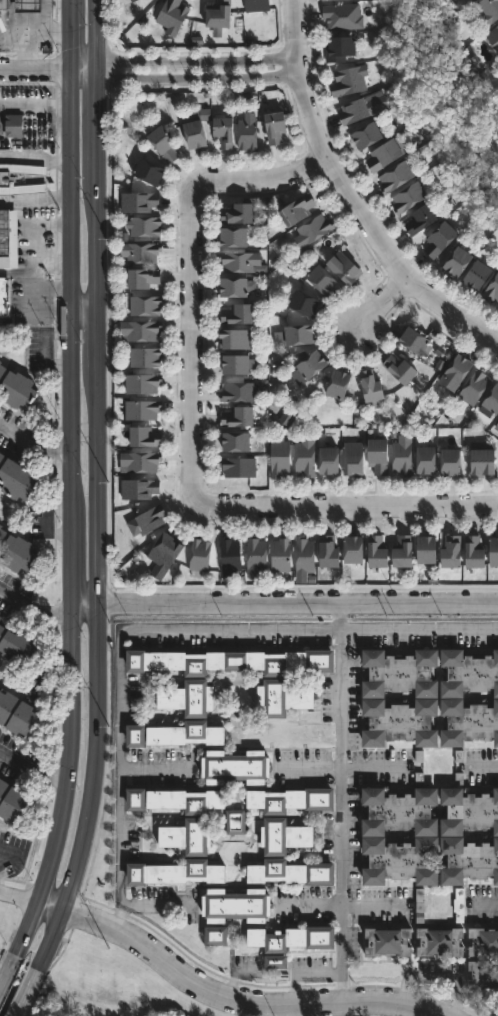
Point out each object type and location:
building: (4, 4)
gas station: (4, 4)
building: (28, 5)
gas station: (28, 5)
building: (256, 5)
building: (489, 10)
building: (173, 16)
building: (219, 16)
building: (341, 16)
building: (493, 37)
building: (338, 47)
road: (197, 58)
road: (83, 69)
road: (34, 70)
road: (198, 78)
building: (349, 80)
road: (34, 105)
building: (357, 109)
building: (13, 124)
building: (276, 125)
building: (223, 131)
building: (196, 133)
building: (247, 134)
building: (366, 135)
building: (163, 142)
building: (380, 153)
road: (34, 159)
building: (148, 171)
building: (392, 176)
building: (7, 178)
road: (349, 197)
building: (408, 197)
road: (35, 199)
building: (138, 201)
building: (299, 208)
building: (237, 214)
building: (420, 219)
building: (145, 226)
building: (314, 230)
building: (235, 237)
building: (440, 238)
building: (4, 239)
building: (140, 251)
building: (240, 261)
building: (458, 261)
building: (344, 267)
building: (478, 275)
building: (142, 278)
building: (322, 279)
building: (234, 287)
building: (492, 290)
building: (4, 296)
road: (70, 301)
road: (97, 302)
building: (304, 302)
road: (384, 303)
building: (144, 305)
road: (84, 308)
building: (238, 315)
building: (140, 330)
building: (294, 335)
building: (235, 339)
building: (414, 340)
building: (145, 357)
building: (0, 361)
building: (238, 365)
building: (309, 368)
building: (400, 369)
building: (460, 369)
building: (142, 383)
building: (339, 385)
building: (367, 385)
building: (474, 386)
building: (15, 387)
building: (239, 392)
building: (492, 403)
building: (142, 408)
building: (238, 416)
building: (496, 425)
road: (191, 426)
building: (145, 437)
road: (33, 442)
building: (236, 442)
building: (376, 454)
building: (306, 455)
building: (399, 455)
building: (280, 457)
building: (352, 459)
building: (420, 460)
building: (141, 461)
building: (329, 461)
building: (445, 461)
building: (483, 462)
building: (239, 467)
building: (15, 477)
building: (138, 489)
building: (145, 522)
building: (15, 550)
building: (354, 550)
building: (428, 550)
building: (166, 551)
building: (403, 551)
building: (494, 552)
building: (329, 553)
building: (377, 553)
building: (452, 553)
building: (474, 553)
building: (282, 554)
building: (305, 554)
building: (199, 555)
building: (255, 556)
building: (229, 557)
road: (295, 602)
road: (82, 604)
road: (32, 609)
building: (0, 617)
road: (133, 628)
building: (15, 644)
building: (232, 660)
building: (399, 672)
building: (467, 672)
building: (188, 696)
building: (280, 696)
building: (15, 710)
building: (398, 720)
building: (467, 721)
building: (173, 734)
road: (65, 753)
road: (92, 758)
road: (16, 760)
building: (232, 765)
building: (459, 766)
road: (342, 767)
road: (490, 767)
road: (154, 768)
building: (173, 799)
building: (288, 799)
building: (11, 800)
road: (342, 801)
building: (467, 809)
building: (398, 810)
building: (233, 821)
building: (185, 835)
building: (281, 835)
building: (398, 859)
building: (468, 859)
building: (288, 871)
building: (172, 872)
road: (17, 895)
building: (418, 900)
building: (456, 903)
road: (48, 904)
building: (237, 905)
road: (122, 907)
road: (342, 907)
road: (488, 909)
road: (116, 919)
road: (23, 927)
building: (216, 935)
building: (292, 937)
road: (49, 938)
building: (439, 940)
building: (387, 941)
building: (482, 941)
building: (274, 961)
road: (6, 966)
building: (483, 972)
park: (107, 984)
road: (25, 991)
road: (244, 1001)
park: (367, 1015)

